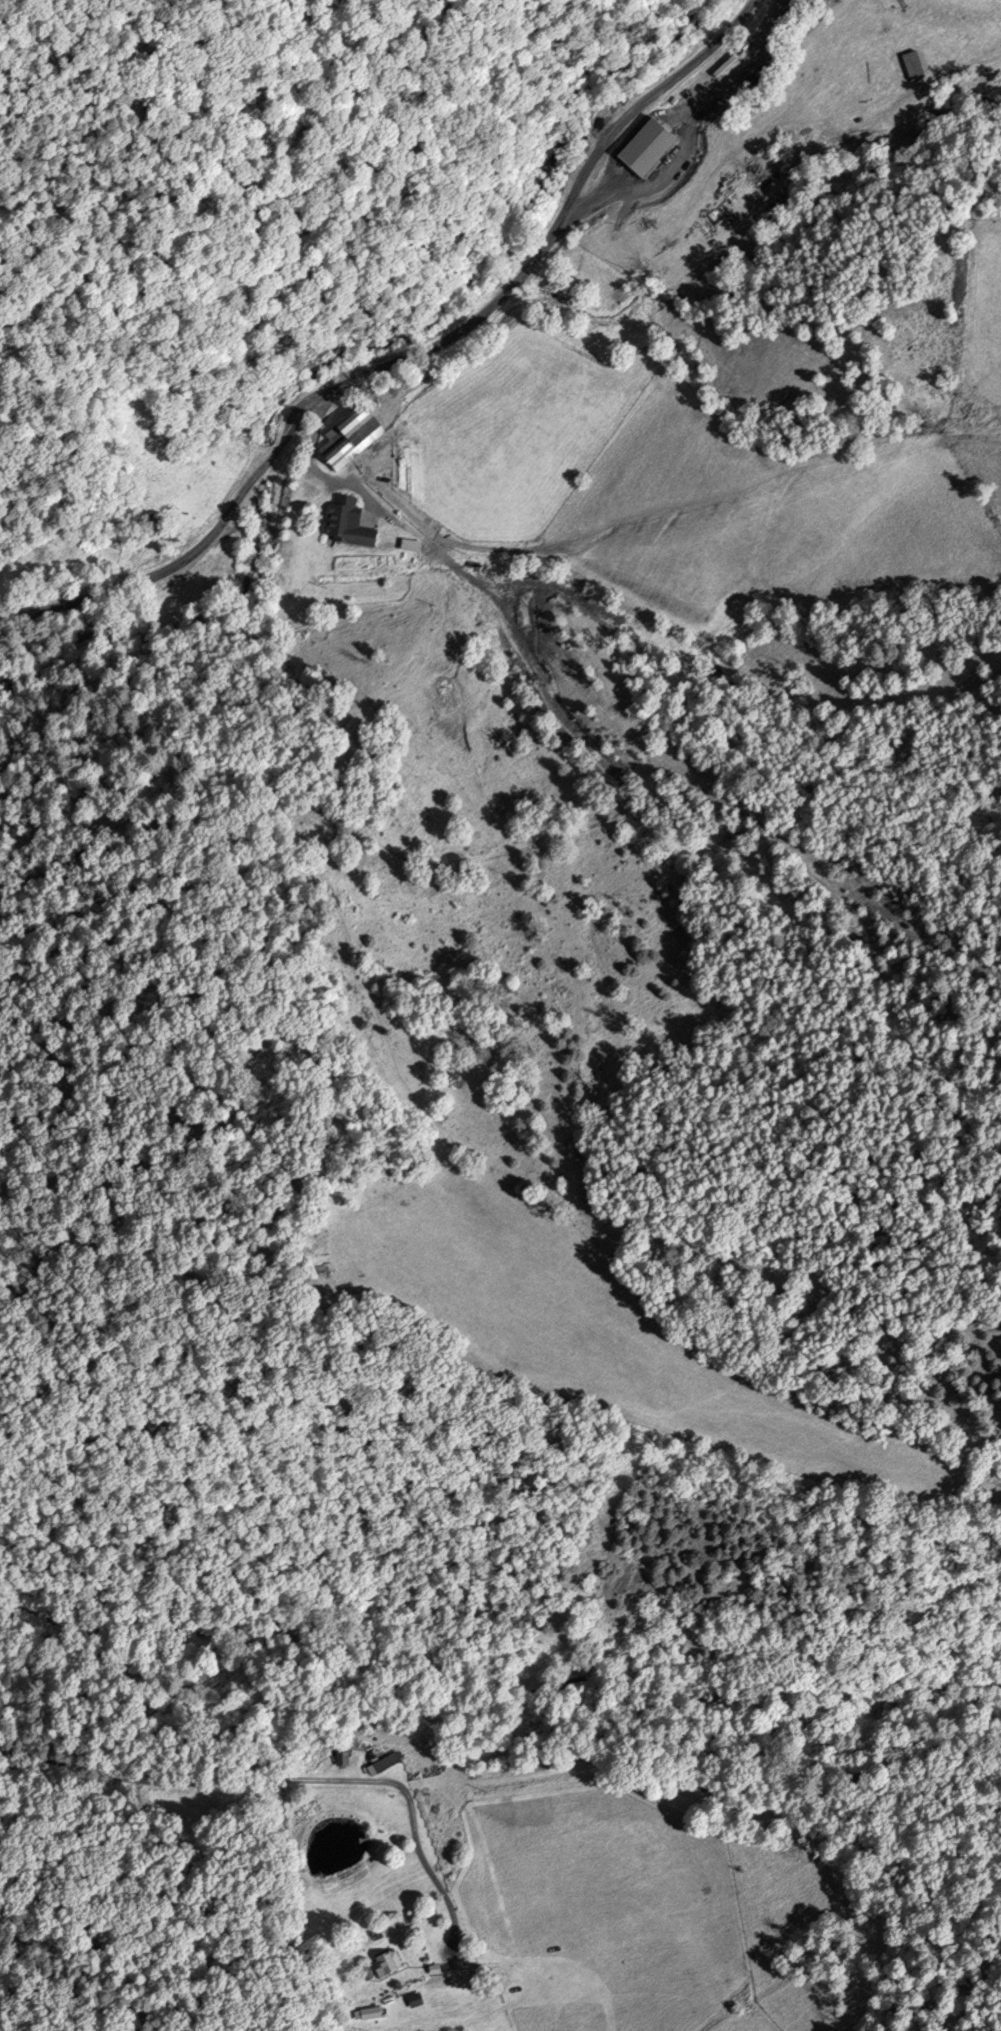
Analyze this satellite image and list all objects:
building: (912, 66)
road: (691, 139)
building: (651, 147)
road: (406, 353)
building: (358, 439)
road: (333, 479)
building: (352, 523)
building: (160, 529)
building: (414, 544)
building: (387, 1762)
road: (284, 1780)
building: (388, 1960)
building: (436, 1969)
building: (370, 2013)

